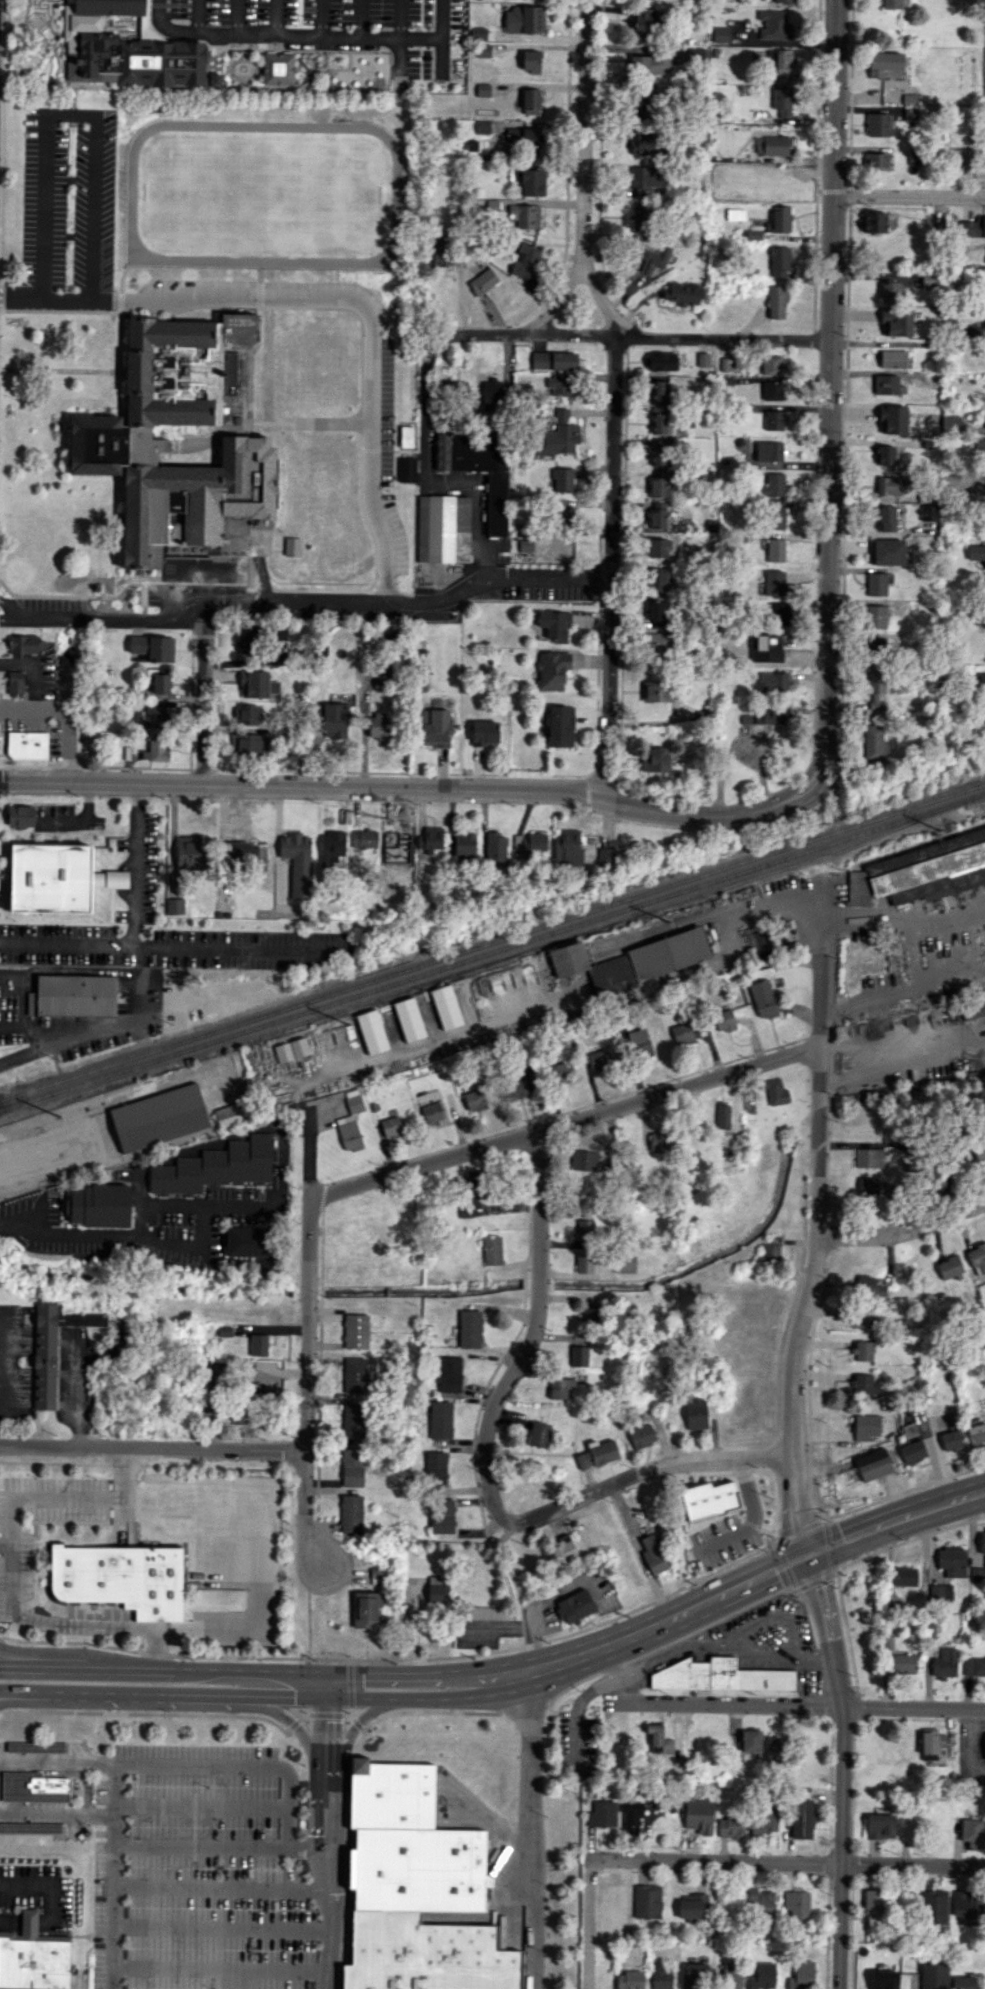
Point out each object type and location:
building: (783, 1)
building: (891, 3)
road: (197, 16)
road: (238, 17)
building: (524, 19)
building: (643, 24)
building: (774, 25)
parking lot: (330, 28)
road: (203, 33)
building: (720, 34)
road: (298, 35)
road: (360, 36)
road: (421, 37)
road: (442, 37)
road: (400, 42)
building: (127, 51)
building: (530, 59)
building: (883, 62)
building: (780, 63)
building: (650, 64)
building: (278, 68)
building: (483, 90)
building: (530, 101)
building: (643, 101)
building: (782, 101)
road: (71, 113)
building: (909, 113)
building: (879, 124)
building: (482, 126)
building: (524, 137)
building: (642, 143)
building: (772, 145)
building: (914, 156)
building: (961, 157)
building: (874, 161)
building: (640, 179)
building: (531, 181)
building: (775, 188)
park: (266, 192)
track: (396, 194)
parking lot: (68, 196)
road: (910, 197)
building: (735, 214)
building: (529, 216)
building: (642, 217)
building: (778, 219)
building: (874, 221)
building: (973, 227)
building: (441, 251)
building: (652, 257)
building: (778, 261)
building: (526, 264)
building: (929, 280)
building: (483, 281)
building: (891, 291)
building: (682, 293)
road: (333, 297)
road: (555, 300)
building: (776, 302)
building: (896, 321)
building: (984, 324)
road: (555, 336)
building: (892, 358)
building: (703, 359)
building: (554, 360)
building: (661, 361)
building: (771, 364)
building: (886, 383)
road: (830, 384)
building: (559, 386)
building: (660, 390)
building: (772, 390)
road: (615, 395)
building: (486, 397)
building: (892, 419)
building: (773, 420)
building: (659, 423)
building: (950, 424)
building: (558, 435)
building: (406, 436)
building: (119, 443)
building: (980, 448)
building: (769, 451)
building: (885, 454)
building: (658, 455)
building: (479, 468)
building: (406, 469)
building: (562, 479)
building: (772, 485)
building: (889, 485)
building: (657, 486)
building: (563, 511)
building: (928, 512)
building: (776, 517)
building: (885, 517)
building: (657, 518)
building: (443, 528)
building: (525, 545)
building: (292, 546)
building: (656, 546)
building: (775, 550)
building: (887, 552)
building: (976, 552)
building: (657, 580)
building: (774, 582)
building: (876, 583)
road: (391, 602)
road: (7, 613)
building: (657, 613)
building: (778, 613)
building: (875, 616)
road: (110, 617)
building: (984, 618)
building: (555, 624)
building: (280, 633)
building: (246, 638)
building: (26, 644)
building: (657, 646)
building: (874, 646)
building: (153, 647)
building: (779, 650)
building: (552, 669)
building: (981, 679)
building: (774, 681)
building: (15, 682)
building: (160, 683)
building: (254, 683)
building: (656, 691)
building: (876, 691)
road: (204, 702)
building: (984, 708)
building: (246, 714)
building: (771, 714)
building: (157, 717)
building: (333, 719)
building: (380, 725)
building: (560, 726)
building: (436, 728)
building: (484, 732)
building: (247, 743)
building: (874, 743)
building: (27, 744)
building: (158, 748)
building: (655, 759)
road: (421, 791)
building: (20, 815)
road: (85, 816)
building: (364, 838)
building: (397, 839)
building: (430, 839)
building: (529, 842)
building: (464, 844)
building: (568, 847)
building: (332, 848)
building: (495, 849)
building: (187, 850)
building: (243, 851)
building: (607, 856)
building: (297, 863)
building: (931, 869)
building: (56, 877)
building: (174, 906)
road: (132, 927)
railway: (585, 931)
railway: (492, 941)
building: (759, 943)
road: (223, 948)
railway: (492, 951)
building: (668, 953)
road: (920, 954)
building: (569, 958)
road: (820, 969)
building: (611, 973)
building: (74, 995)
road: (143, 997)
building: (762, 998)
building: (446, 1006)
building: (973, 1010)
building: (408, 1019)
building: (724, 1020)
building: (371, 1031)
building: (682, 1033)
building: (639, 1042)
building: (291, 1049)
building: (599, 1058)
road: (902, 1061)
building: (558, 1073)
building: (523, 1083)
building: (775, 1091)
building: (474, 1100)
building: (431, 1112)
building: (230, 1114)
building: (723, 1115)
building: (159, 1117)
building: (350, 1121)
road: (565, 1123)
building: (391, 1126)
building: (655, 1143)
building: (979, 1149)
building: (868, 1157)
building: (584, 1160)
building: (959, 1160)
building: (215, 1167)
building: (474, 1184)
building: (867, 1185)
road: (151, 1202)
building: (99, 1205)
building: (585, 1230)
road: (904, 1230)
building: (245, 1241)
road: (191, 1245)
building: (492, 1250)
building: (771, 1253)
building: (977, 1258)
building: (584, 1262)
building: (625, 1263)
building: (950, 1266)
road: (811, 1284)
building: (869, 1286)
building: (587, 1316)
building: (863, 1317)
building: (470, 1328)
building: (355, 1330)
road: (531, 1334)
road: (306, 1336)
building: (258, 1344)
building: (53, 1347)
building: (862, 1350)
building: (578, 1356)
road: (281, 1372)
building: (450, 1374)
building: (355, 1375)
building: (217, 1378)
building: (864, 1384)
building: (560, 1387)
road: (77, 1389)
building: (695, 1413)
building: (238, 1415)
building: (351, 1419)
building: (440, 1419)
building: (866, 1426)
building: (976, 1433)
building: (539, 1434)
building: (642, 1435)
building: (951, 1440)
road: (151, 1449)
building: (911, 1450)
building: (597, 1453)
road: (937, 1460)
building: (873, 1464)
building: (436, 1466)
building: (352, 1467)
road: (643, 1472)
road: (894, 1495)
building: (709, 1499)
building: (351, 1513)
building: (443, 1515)
road: (750, 1522)
road: (971, 1527)
road: (5, 1542)
building: (982, 1542)
road: (930, 1547)
building: (561, 1549)
road: (639, 1552)
building: (653, 1554)
traffic signals: (808, 1554)
building: (952, 1562)
building: (977, 1574)
building: (377, 1575)
building: (121, 1576)
road: (750, 1580)
building: (437, 1589)
road: (566, 1590)
building: (940, 1592)
road: (909, 1596)
building: (575, 1606)
building: (366, 1607)
road: (15, 1611)
road: (756, 1624)
road: (516, 1625)
road: (155, 1646)
road: (814, 1655)
road: (49, 1657)
building: (903, 1663)
building: (944, 1663)
road: (49, 1665)
road: (110, 1666)
building: (974, 1666)
road: (164, 1667)
road: (265, 1669)
traffic signals: (325, 1671)
road: (391, 1672)
road: (487, 1672)
building: (721, 1675)
road: (37, 1689)
road: (158, 1692)
road: (37, 1695)
traffic signals: (325, 1697)
road: (382, 1697)
road: (775, 1706)
road: (575, 1711)
road: (296, 1725)
road: (325, 1726)
road: (352, 1732)
building: (659, 1739)
building: (750, 1740)
building: (931, 1743)
building: (37, 1746)
road: (970, 1746)
building: (984, 1746)
road: (57, 1761)
road: (240, 1766)
road: (841, 1769)
building: (48, 1784)
building: (26, 1788)
road: (114, 1789)
building: (392, 1794)
road: (201, 1806)
building: (602, 1813)
road: (46, 1815)
building: (698, 1815)
building: (633, 1818)
building: (801, 1818)
building: (763, 1819)
building: (731, 1826)
building: (879, 1826)
building: (33, 1827)
road: (530, 1830)
building: (971, 1830)
road: (195, 1846)
road: (787, 1862)
parking lot: (219, 1865)
building: (419, 1869)
road: (329, 1885)
road: (222, 1886)
building: (608, 1895)
building: (647, 1901)
building: (873, 1901)
building: (760, 1903)
building: (796, 1903)
building: (965, 1903)
building: (935, 1906)
building: (690, 1908)
road: (113, 1917)
road: (586, 1923)
road: (222, 1927)
building: (426, 1955)
building: (34, 1957)
road: (220, 1968)
building: (662, 1975)
building: (694, 1975)
building: (732, 1975)
building: (801, 1975)
building: (762, 1976)
building: (933, 1976)
building: (883, 1979)
building: (629, 1980)
building: (963, 1982)

